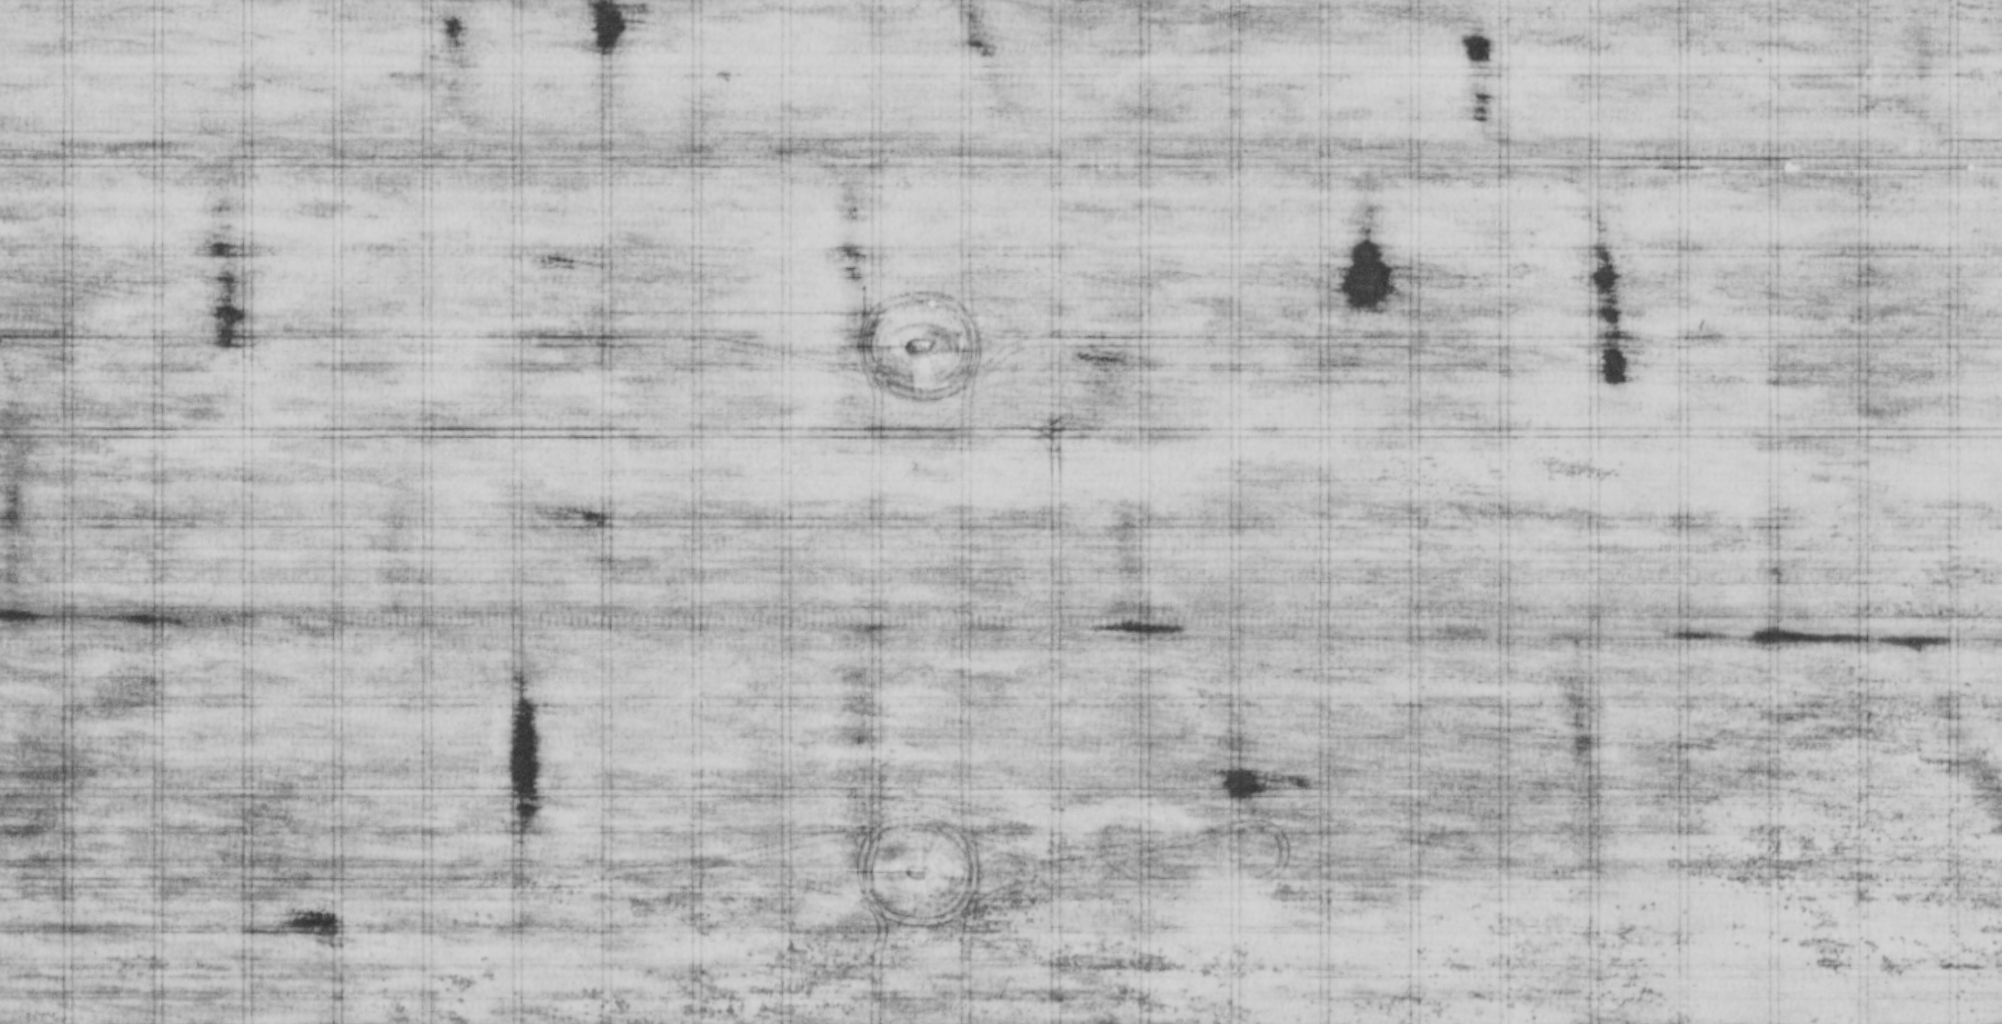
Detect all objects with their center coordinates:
power tower: (920, 345)
power tower: (916, 869)

